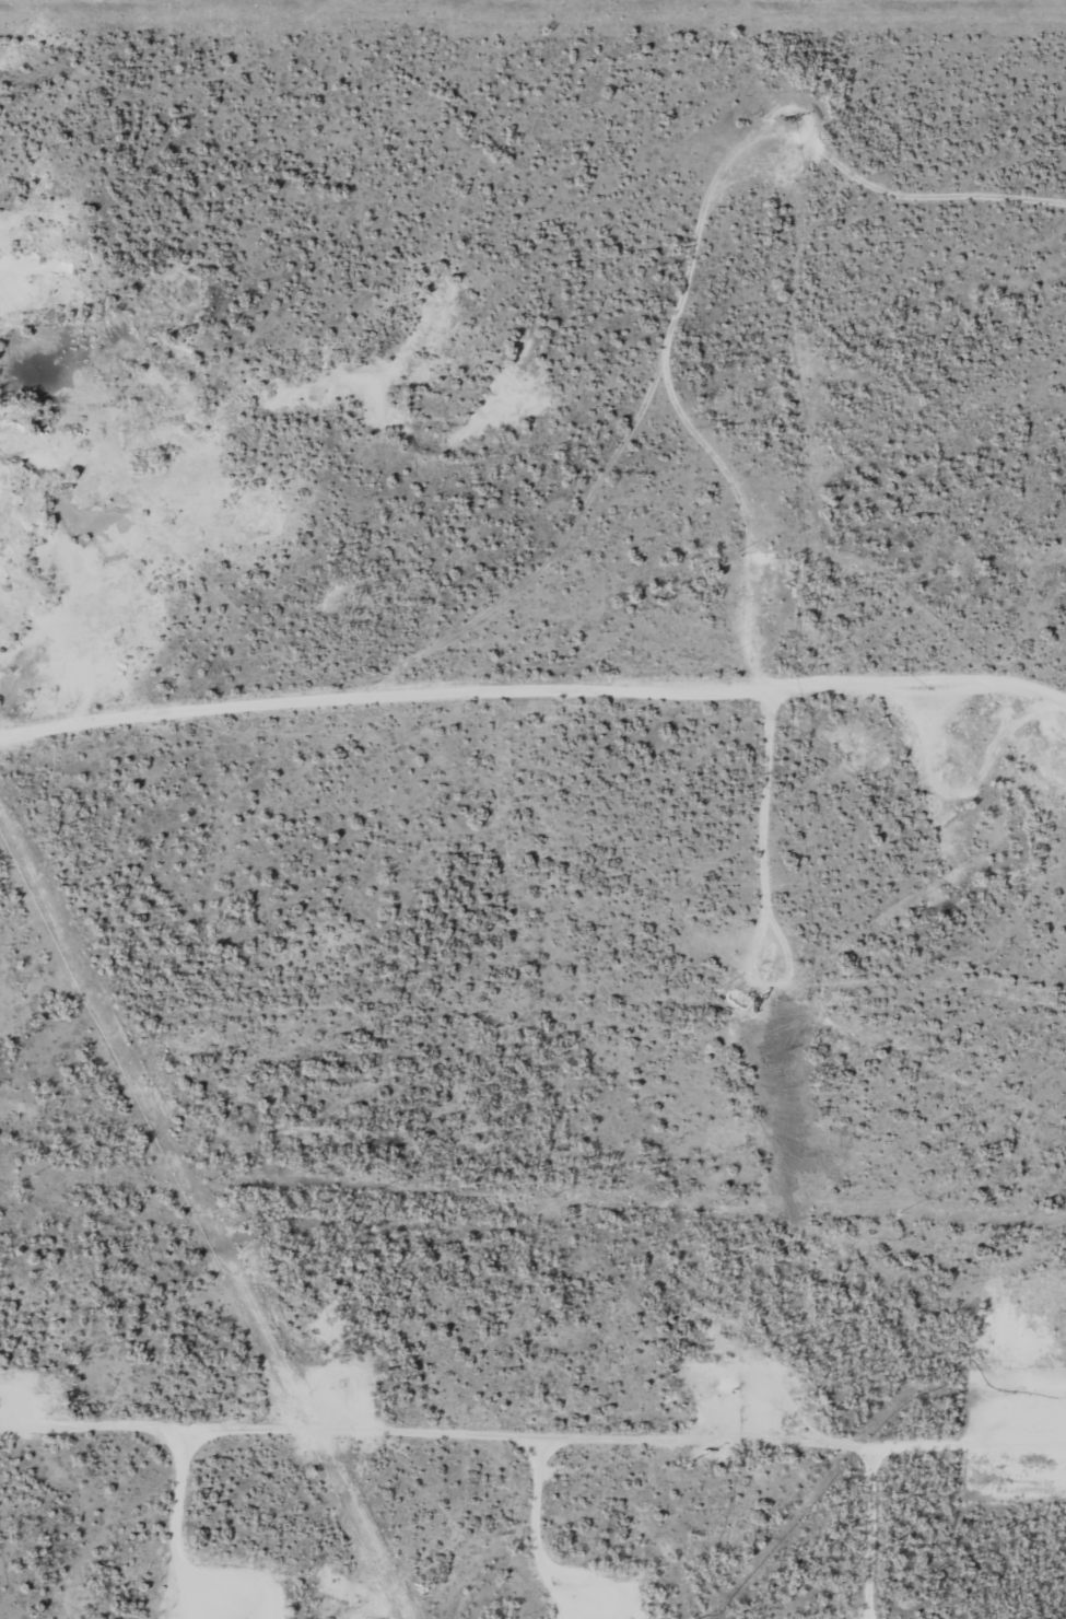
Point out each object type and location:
road: (516, 603)
road: (726, 685)
road: (355, 1461)

